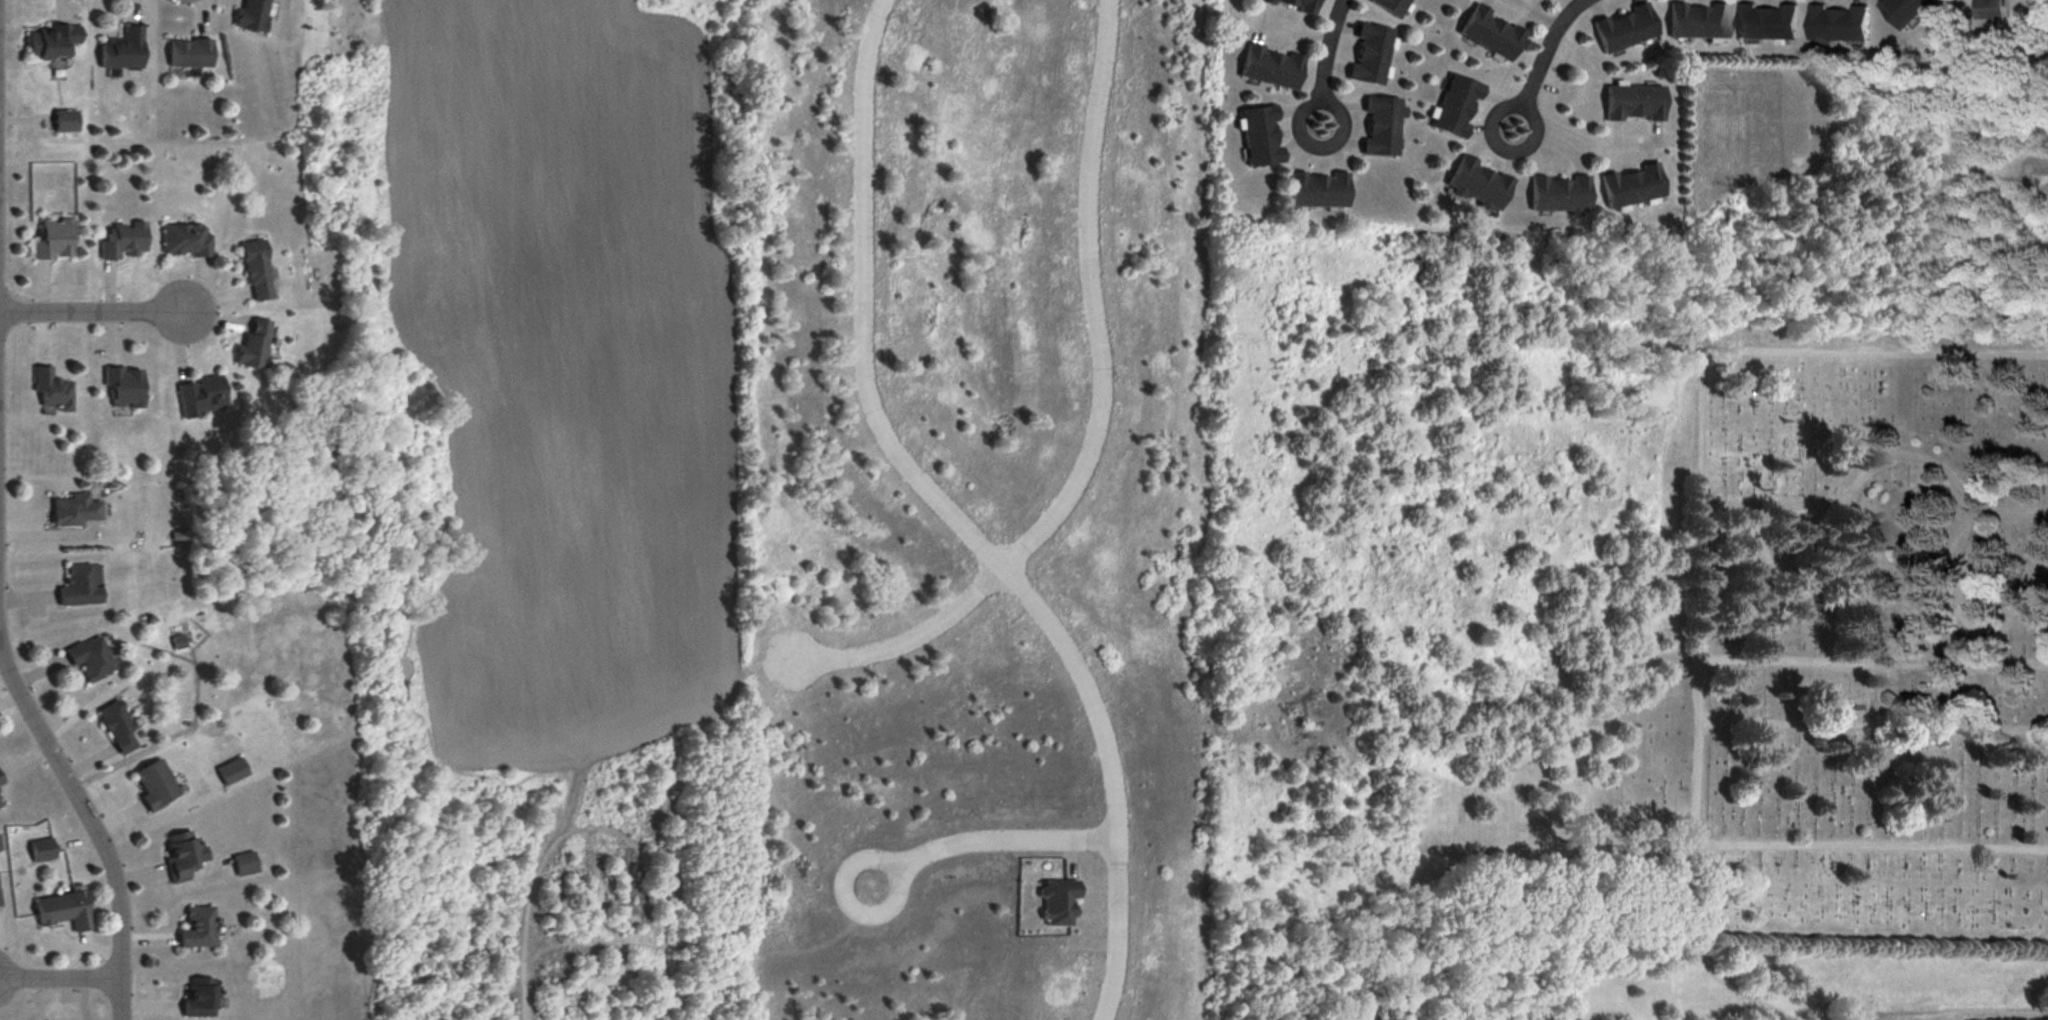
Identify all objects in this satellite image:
building: (1292, 5)
building: (1389, 6)
building: (1988, 9)
building: (1903, 11)
building: (249, 16)
building: (1696, 21)
building: (1766, 22)
building: (1836, 24)
building: (1622, 29)
building: (1489, 33)
building: (54, 42)
building: (124, 50)
building: (191, 54)
building: (1367, 55)
road: (1538, 60)
road: (1323, 61)
building: (1269, 66)
building: (1632, 104)
building: (1453, 107)
building: (67, 121)
building: (1379, 127)
building: (1258, 136)
road: (1586, 139)
building: (1476, 185)
building: (1629, 187)
building: (1315, 190)
building: (1557, 195)
building: (56, 241)
building: (125, 241)
building: (187, 241)
building: (258, 271)
road: (91, 311)
building: (255, 346)
building: (125, 388)
building: (53, 391)
building: (203, 397)
road: (1095, 423)
building: (76, 511)
road: (958, 517)
building: (82, 587)
park: (1821, 650)
building: (92, 659)
building: (120, 728)
building: (1, 781)
building: (157, 785)
building: (1, 805)
road: (87, 810)
road: (987, 843)
building: (38, 850)
building: (180, 856)
building: (242, 864)
building: (1056, 902)
building: (60, 910)
building: (195, 927)
road: (60, 977)
building: (196, 998)
road: (1974, 1014)

